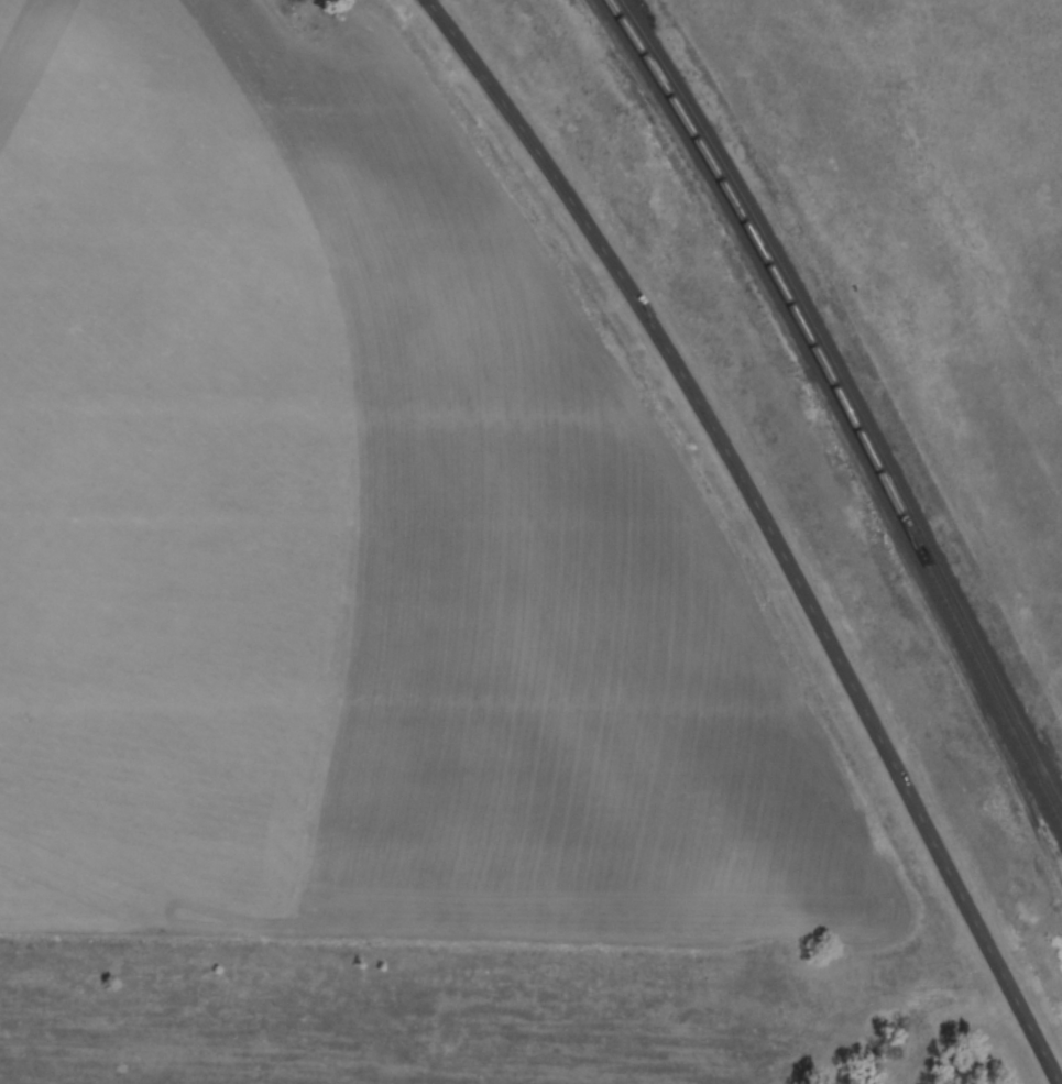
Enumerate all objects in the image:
railway: (852, 393)
railway: (845, 405)
road: (774, 526)
crop: (350, 537)

